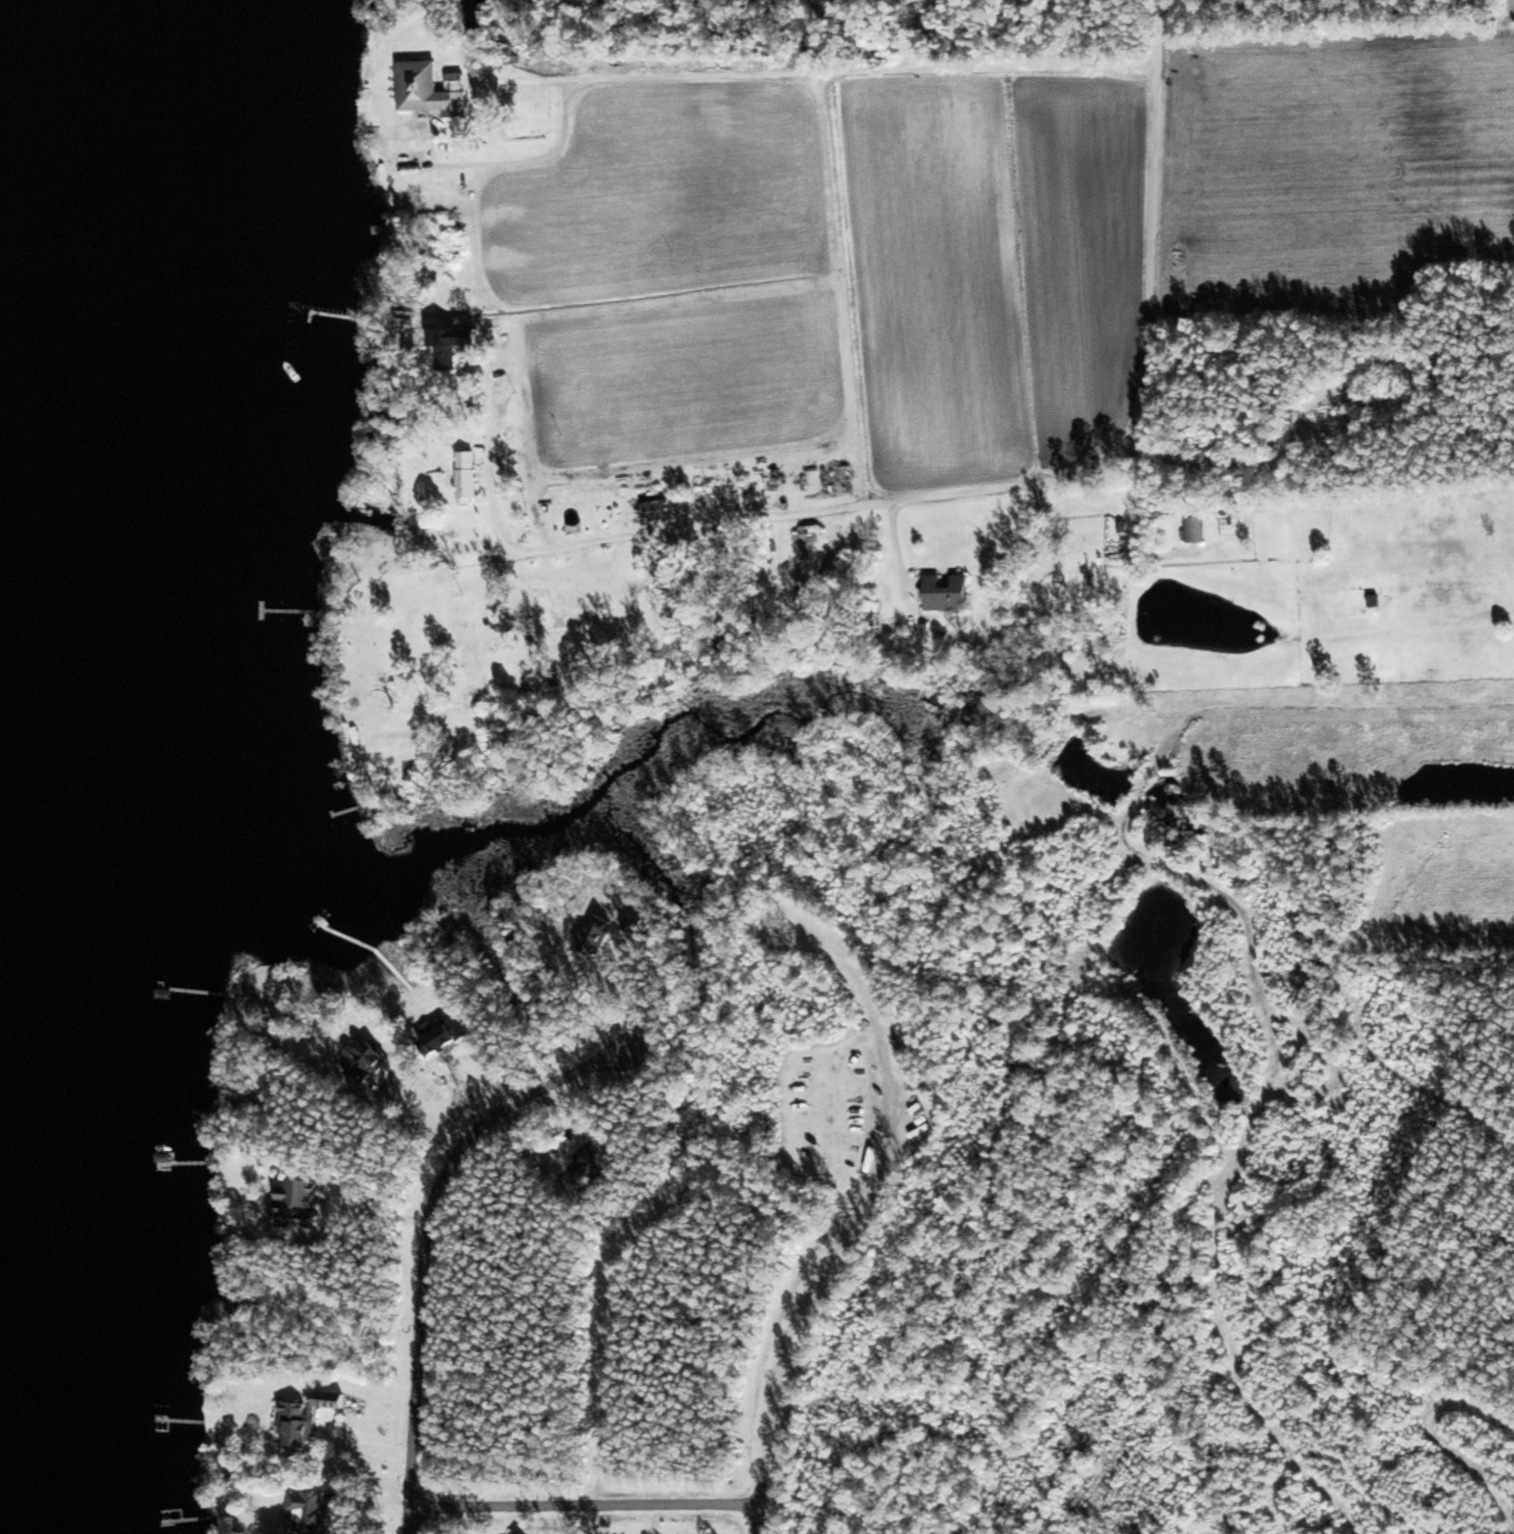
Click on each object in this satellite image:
road: (784, 69)
building: (433, 90)
building: (448, 348)
building: (468, 474)
road: (958, 494)
building: (660, 510)
building: (1196, 530)
building: (802, 559)
building: (950, 593)
building: (428, 621)
building: (482, 695)
building: (447, 1034)
building: (924, 1133)
building: (593, 1163)
building: (300, 1205)
road: (847, 1237)
road: (430, 1251)
building: (308, 1419)
road: (590, 1502)
building: (313, 1512)

